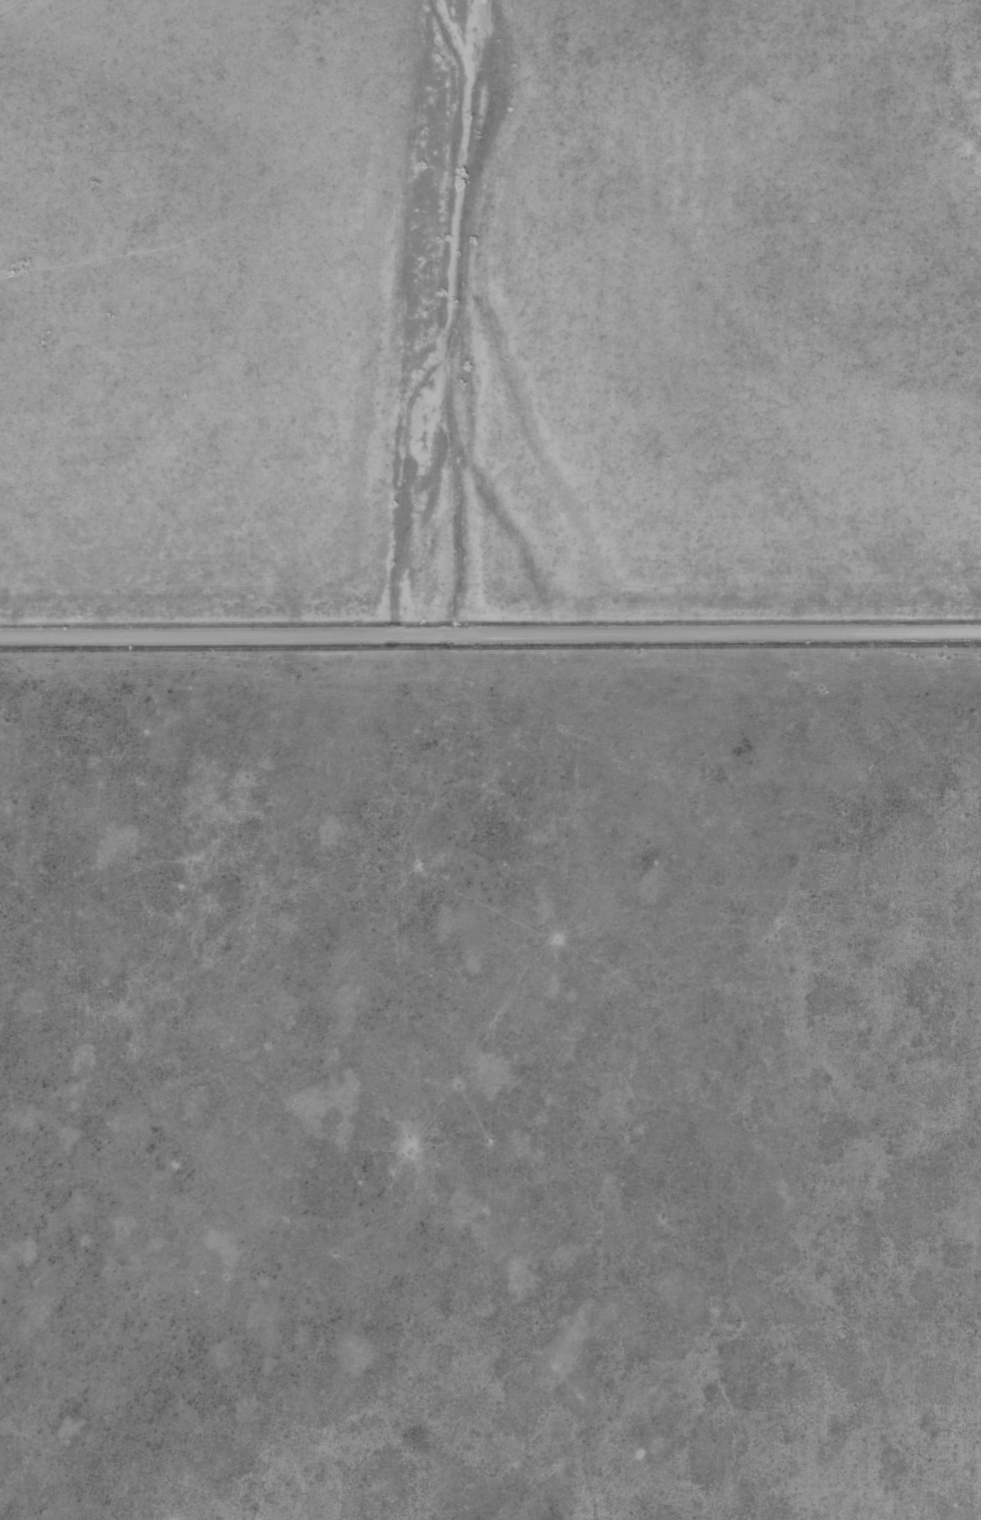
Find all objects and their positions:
road: (490, 629)

